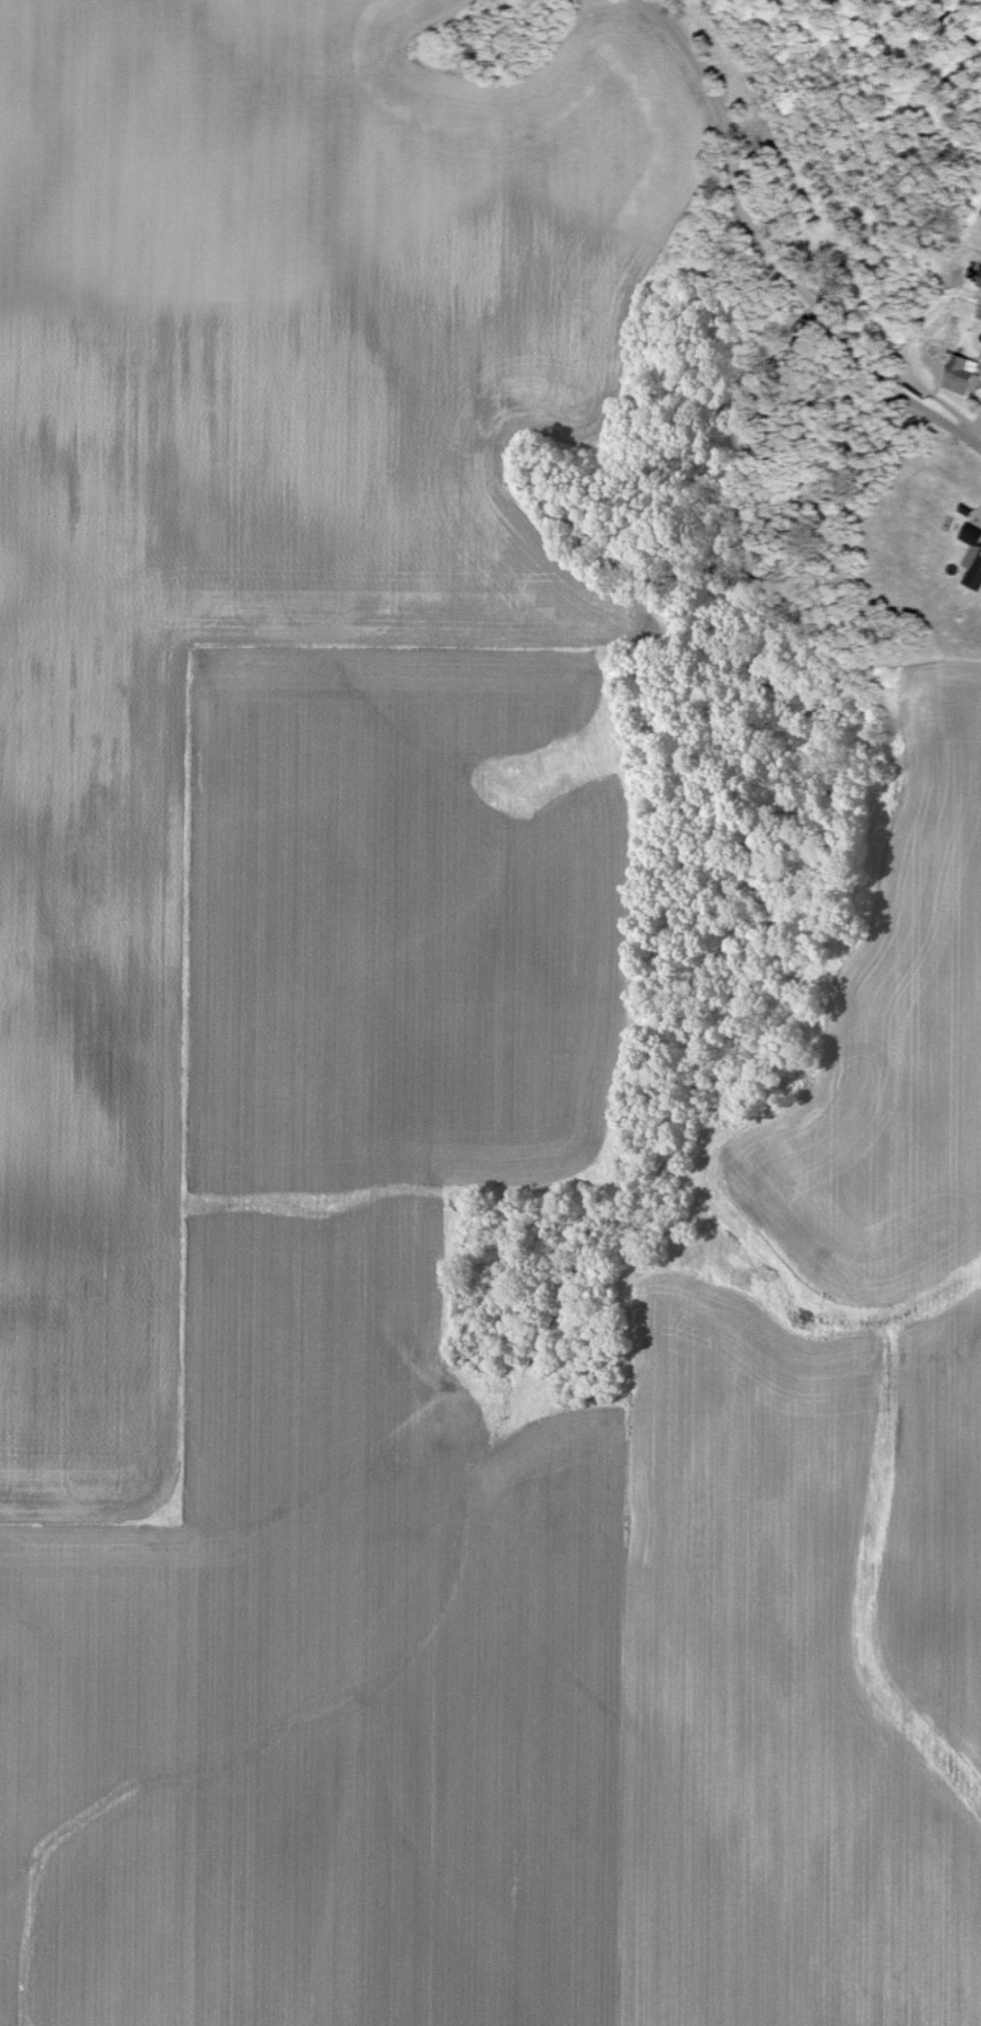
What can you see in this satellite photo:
road: (773, 248)

